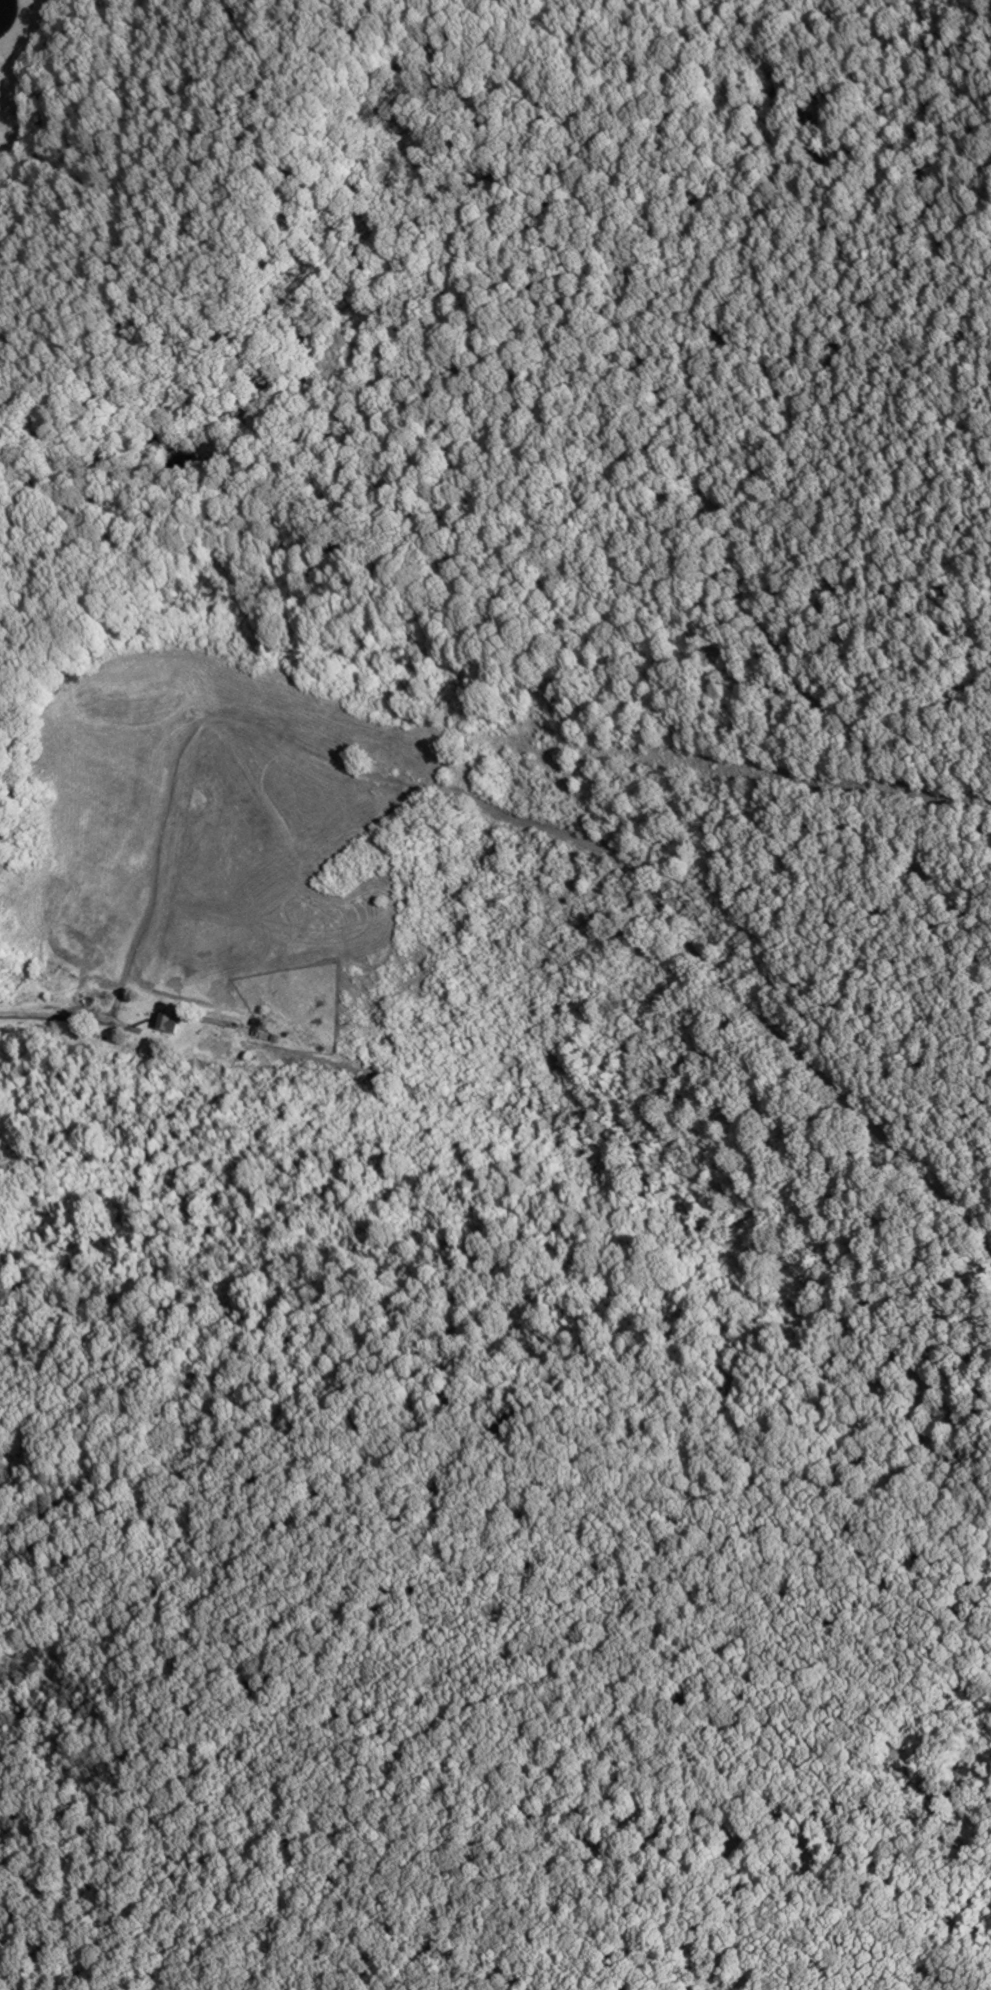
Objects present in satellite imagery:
road: (51, 1016)

